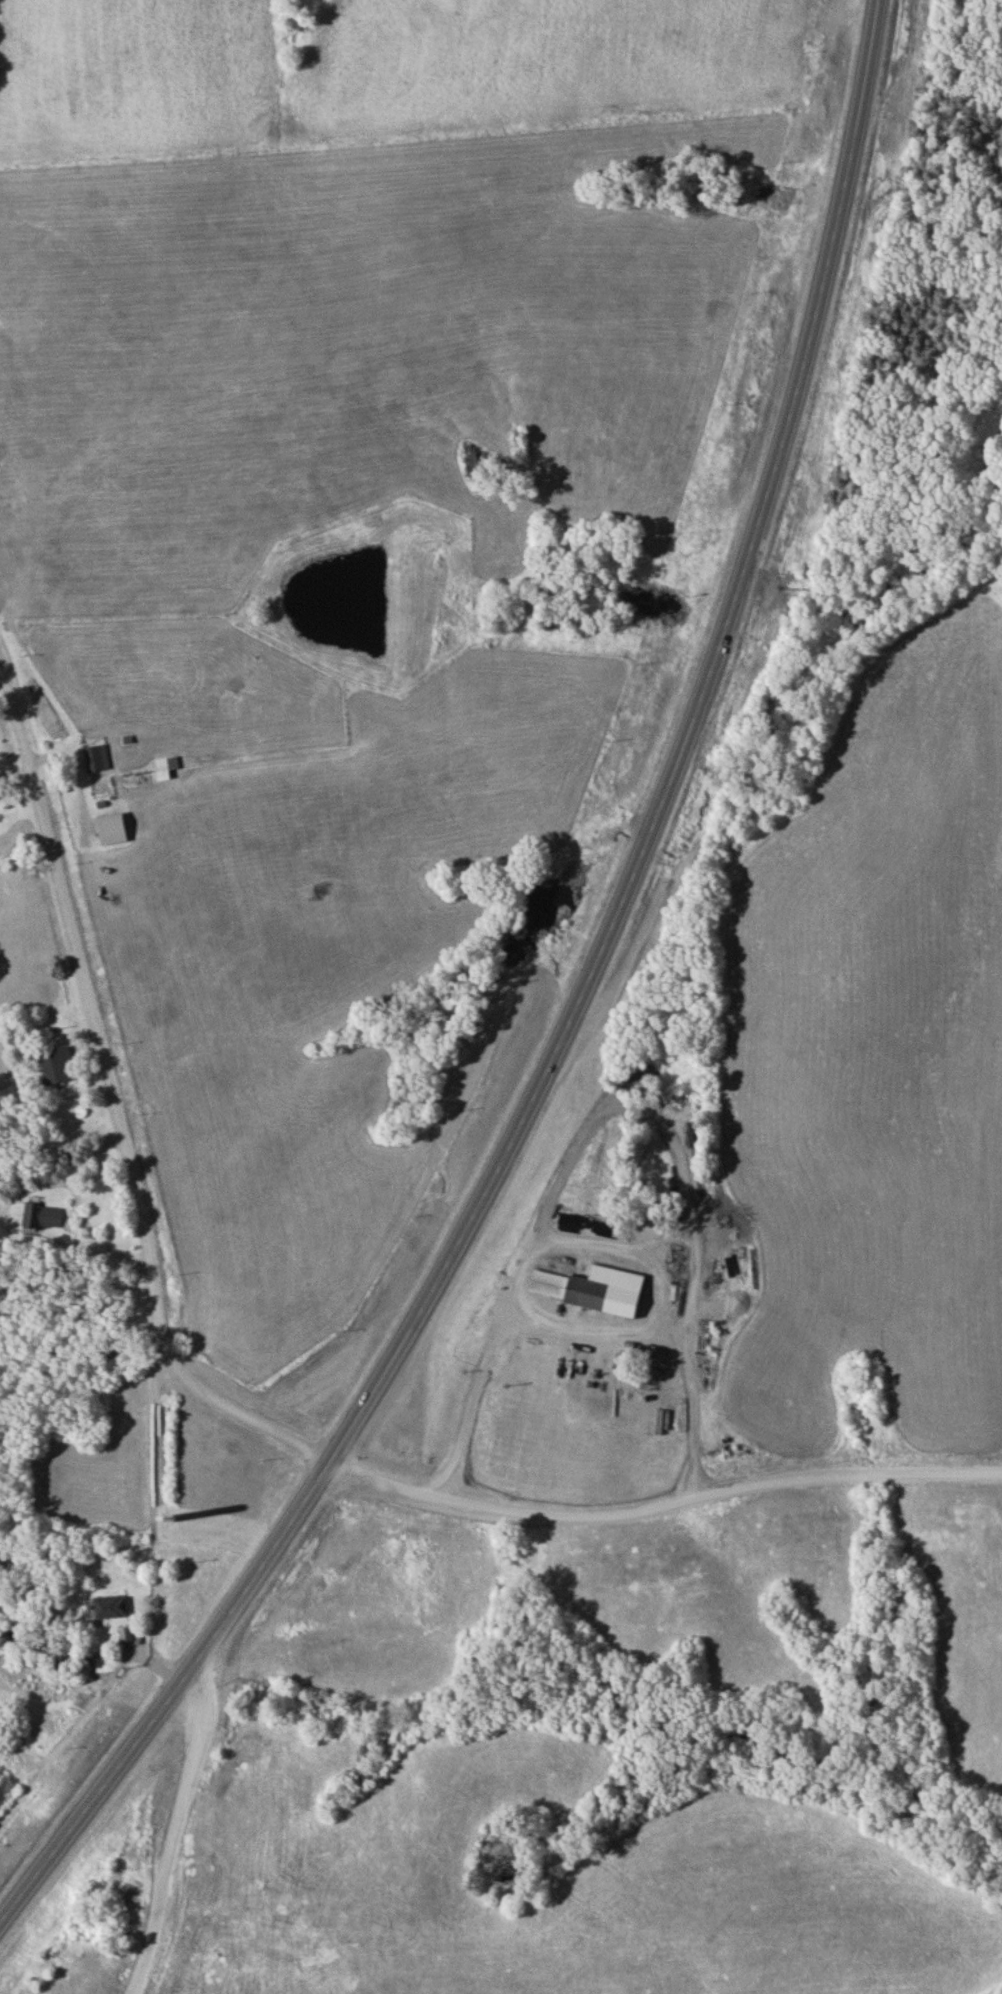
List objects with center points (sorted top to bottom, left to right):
building: (96, 759)
building: (165, 768)
building: (111, 830)
road: (569, 1020)
building: (58, 1065)
road: (112, 1085)
building: (43, 1216)
building: (592, 1288)
road: (316, 1451)
road: (663, 1504)
building: (111, 1607)
building: (128, 1642)
road: (170, 1834)

